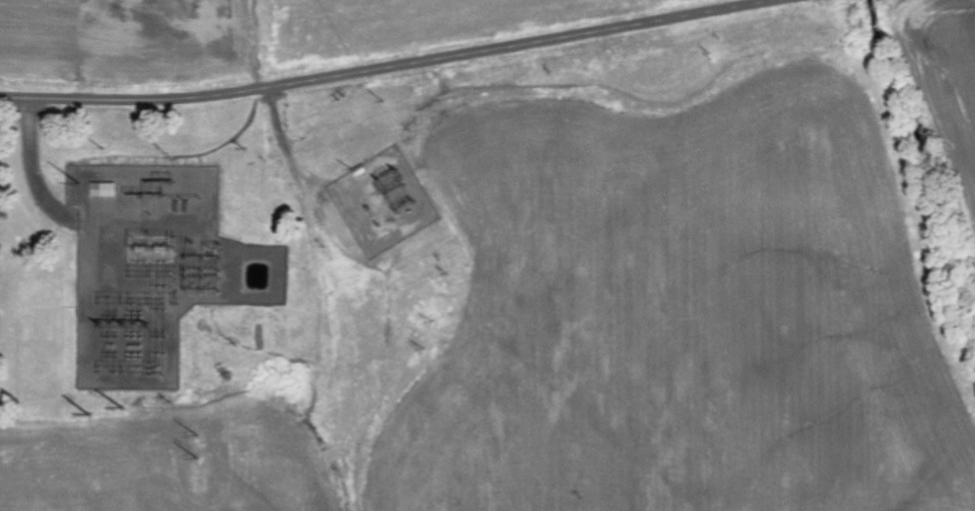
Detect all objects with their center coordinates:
road: (379, 65)
building: (103, 190)
power substation: (155, 270)
power tower: (232, 377)
power tower: (122, 409)
power tower: (89, 417)

